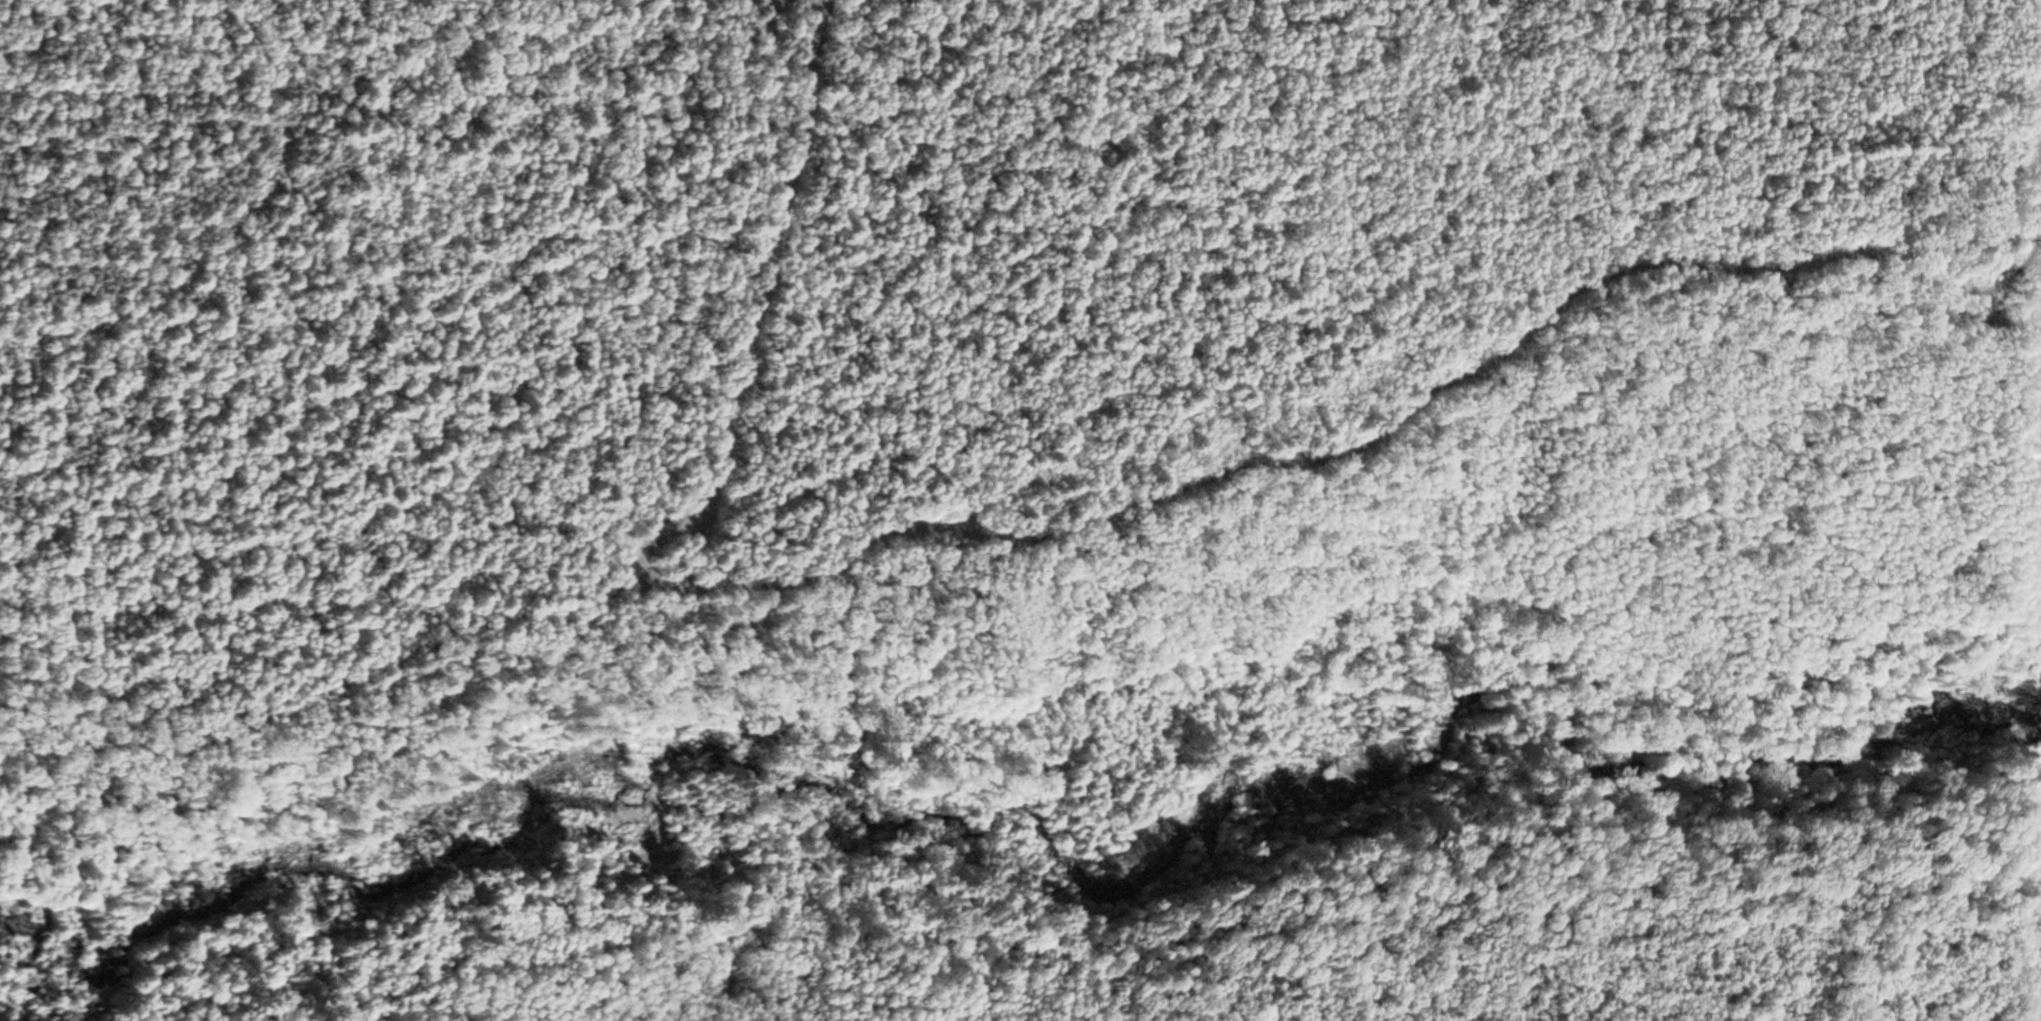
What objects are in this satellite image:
road: (776, 257)
road: (1362, 439)
road: (640, 581)

